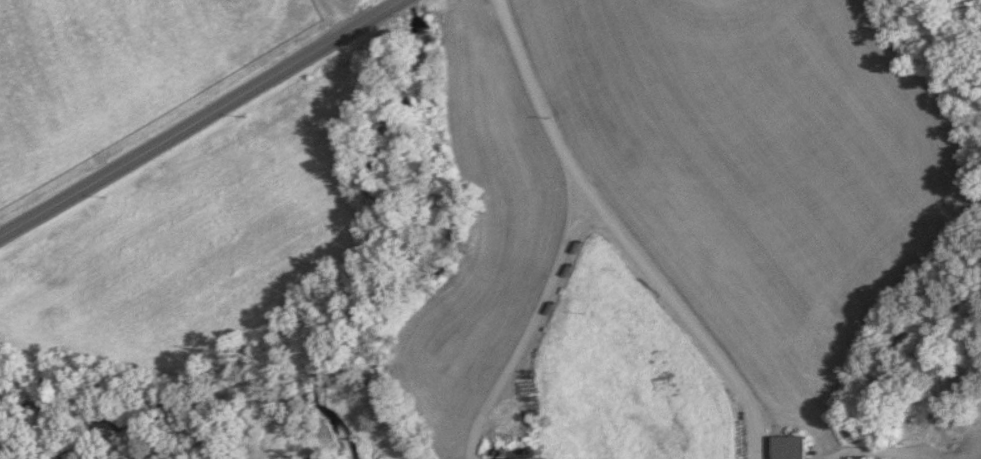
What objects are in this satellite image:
road: (338, 15)
road: (200, 118)
road: (617, 235)
road: (531, 328)
building: (790, 447)
road: (882, 453)
building: (546, 458)

